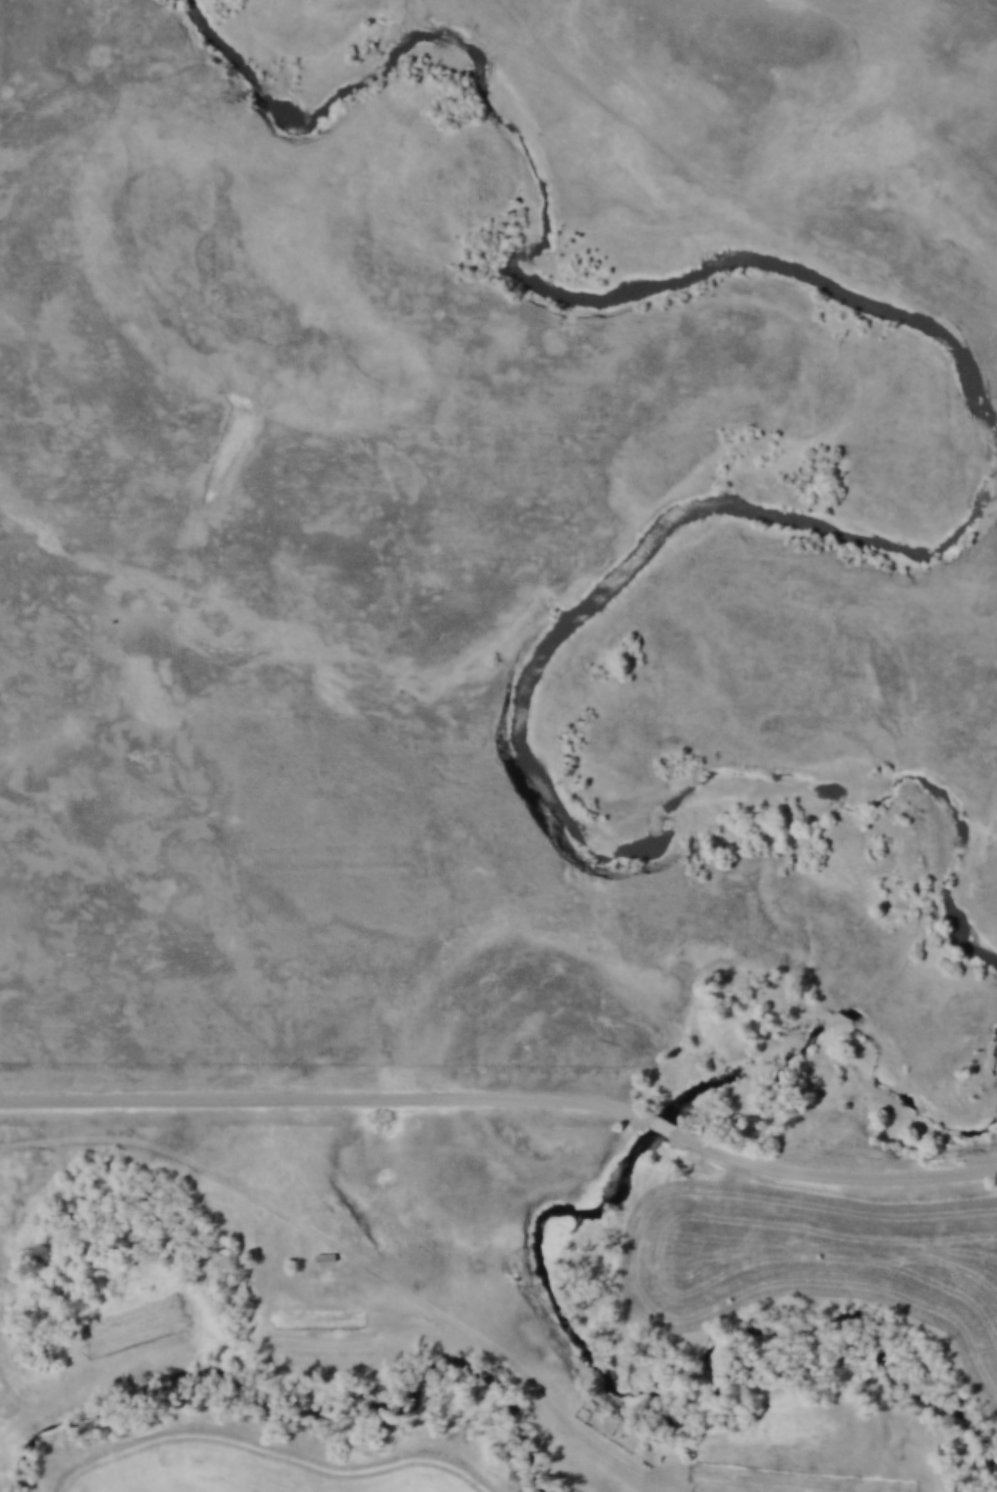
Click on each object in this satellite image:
road: (326, 1093)
road: (660, 1121)
road: (160, 1138)
road: (830, 1173)
building: (326, 1253)

